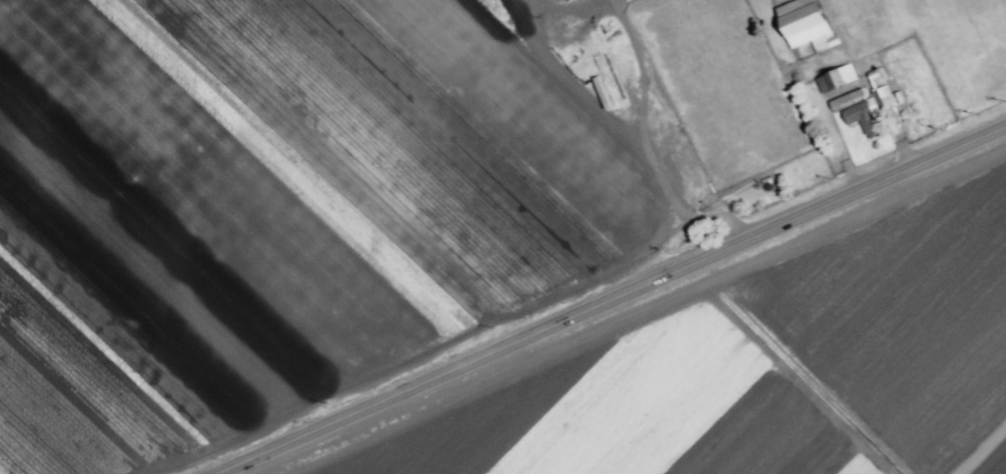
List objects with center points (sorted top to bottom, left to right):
building: (802, 22)
building: (835, 79)
building: (882, 98)
building: (844, 99)
building: (861, 121)
building: (667, 135)
crop: (409, 187)
road: (616, 303)
crop: (755, 364)

